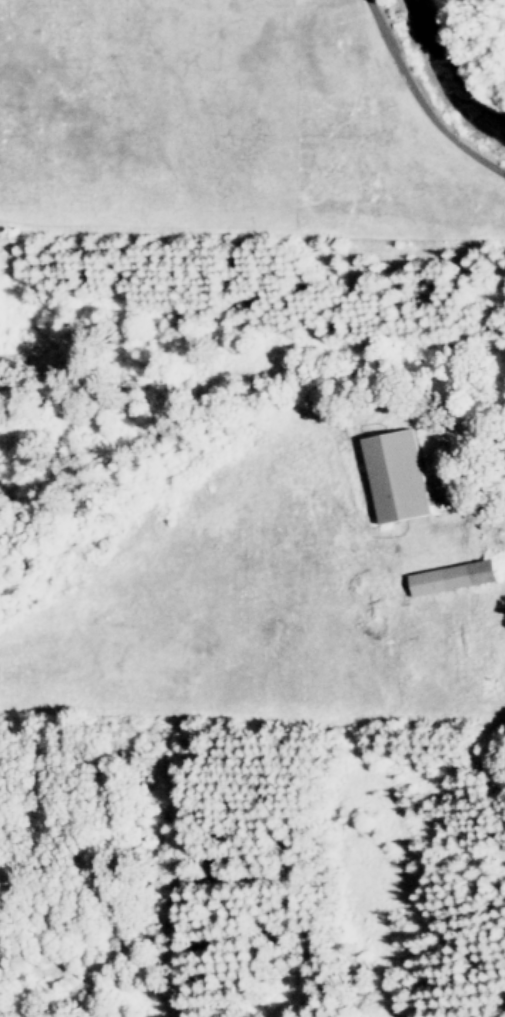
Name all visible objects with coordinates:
road: (421, 98)
building: (409, 481)
road: (491, 500)
building: (455, 579)

